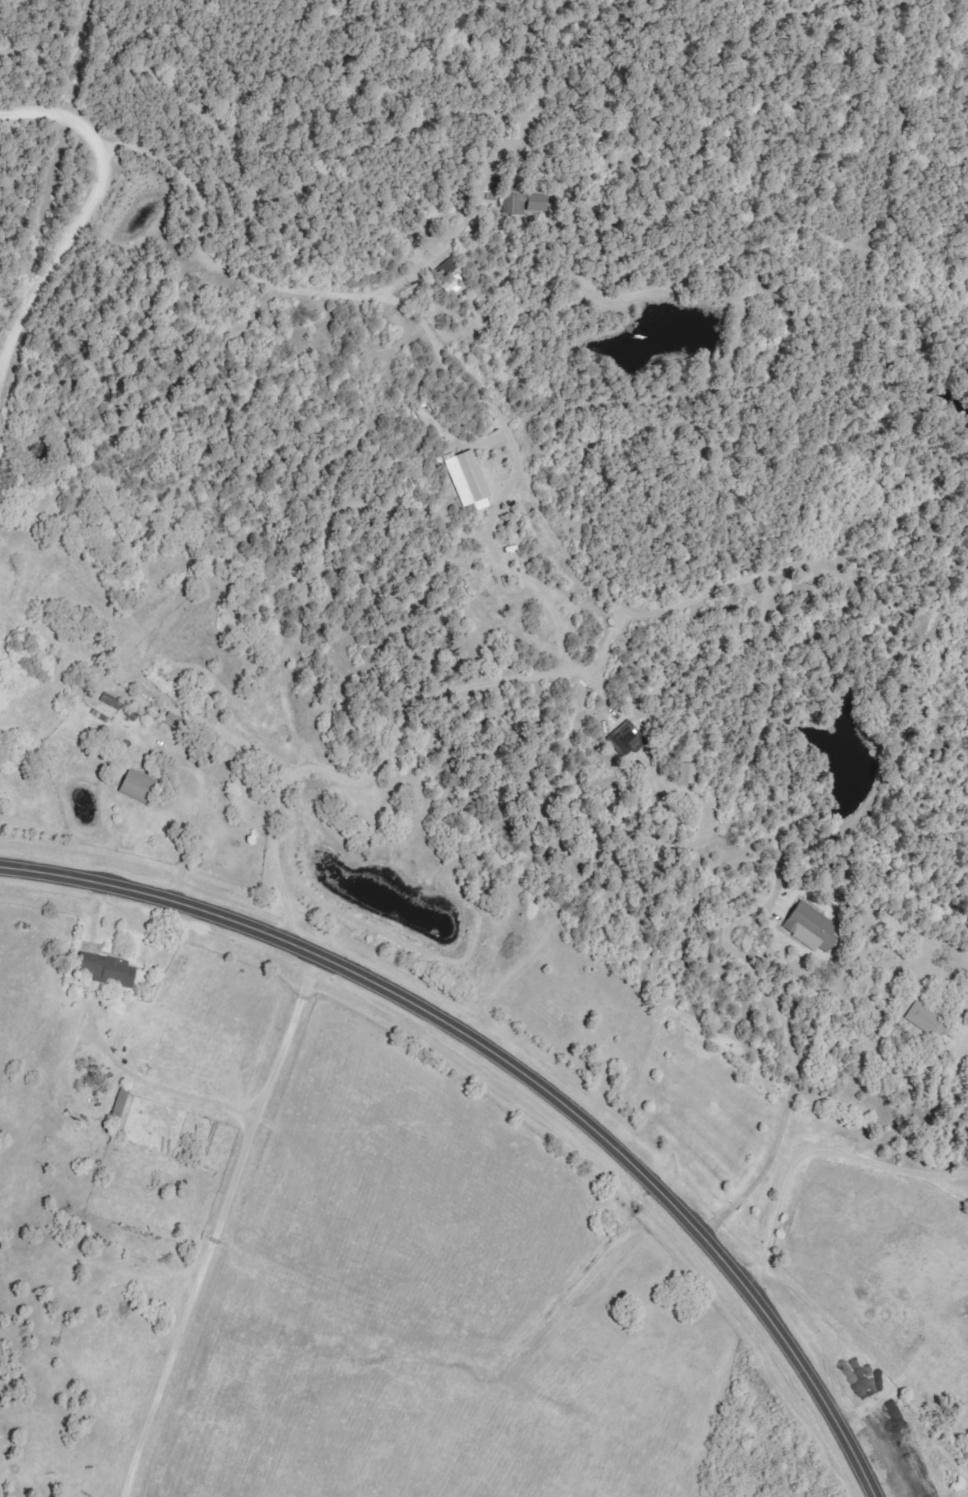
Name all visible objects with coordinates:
road: (82, 212)
road: (8, 333)
building: (469, 477)
building: (484, 504)
road: (495, 548)
building: (180, 723)
building: (143, 786)
road: (245, 804)
building: (814, 927)
building: (105, 970)
building: (928, 1021)
road: (520, 1066)
road: (813, 1146)
road: (216, 1220)

